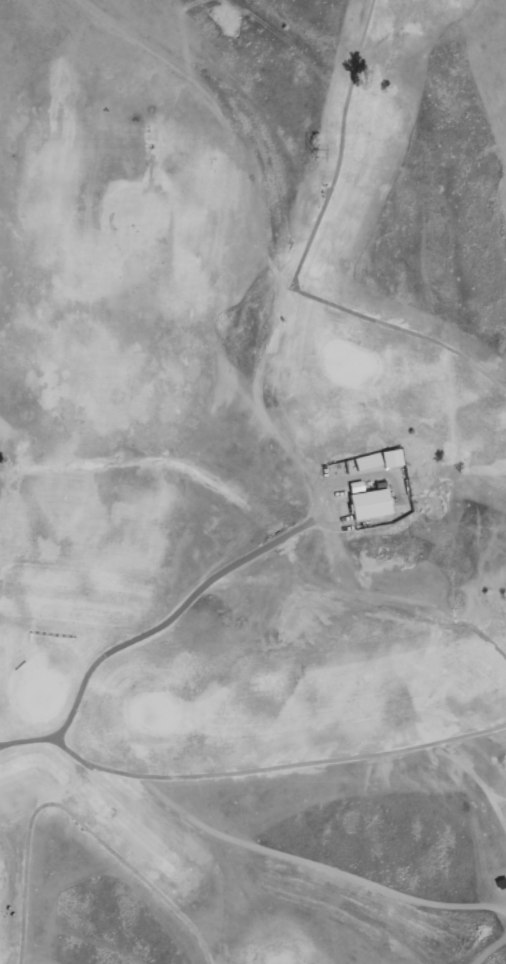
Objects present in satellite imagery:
road: (301, 261)
building: (391, 457)
park: (253, 482)
building: (367, 501)
road: (177, 612)
road: (249, 771)
road: (75, 817)

